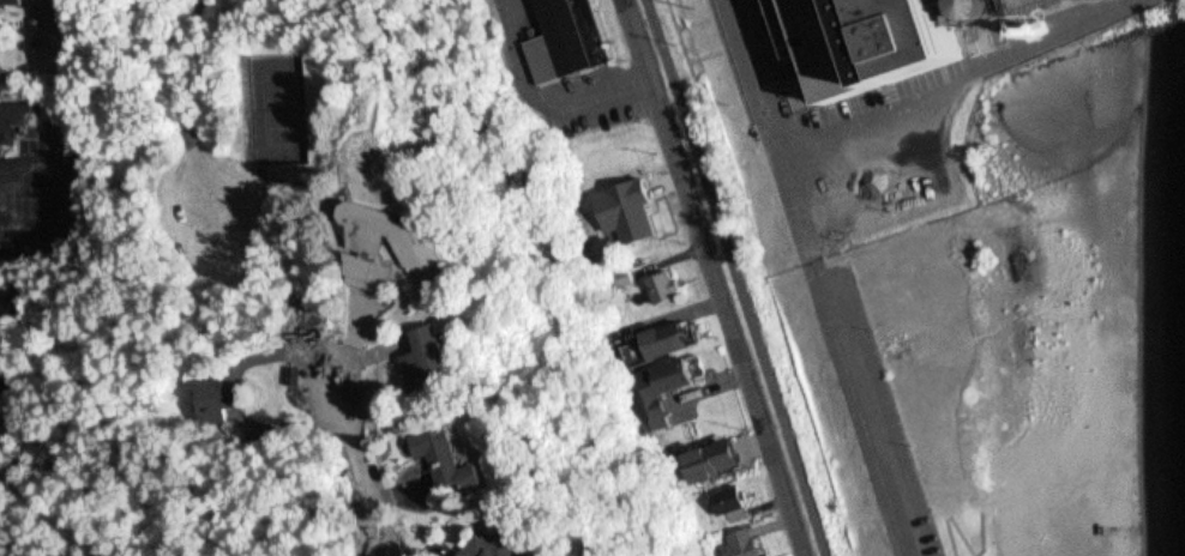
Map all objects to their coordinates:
building: (14, 1)
building: (48, 7)
building: (0, 22)
building: (38, 25)
building: (564, 38)
building: (901, 40)
park: (288, 108)
building: (20, 120)
building: (919, 169)
building: (407, 246)
road: (714, 277)
road: (740, 277)
building: (664, 286)
building: (6, 307)
building: (668, 339)
building: (4, 351)
building: (1168, 353)
park: (1049, 357)
building: (453, 358)
park: (1025, 364)
building: (675, 374)
building: (233, 395)
parking lot: (871, 409)
road: (861, 413)
building: (470, 460)
road: (367, 465)
building: (730, 503)
building: (741, 542)
building: (519, 543)
road: (969, 546)

